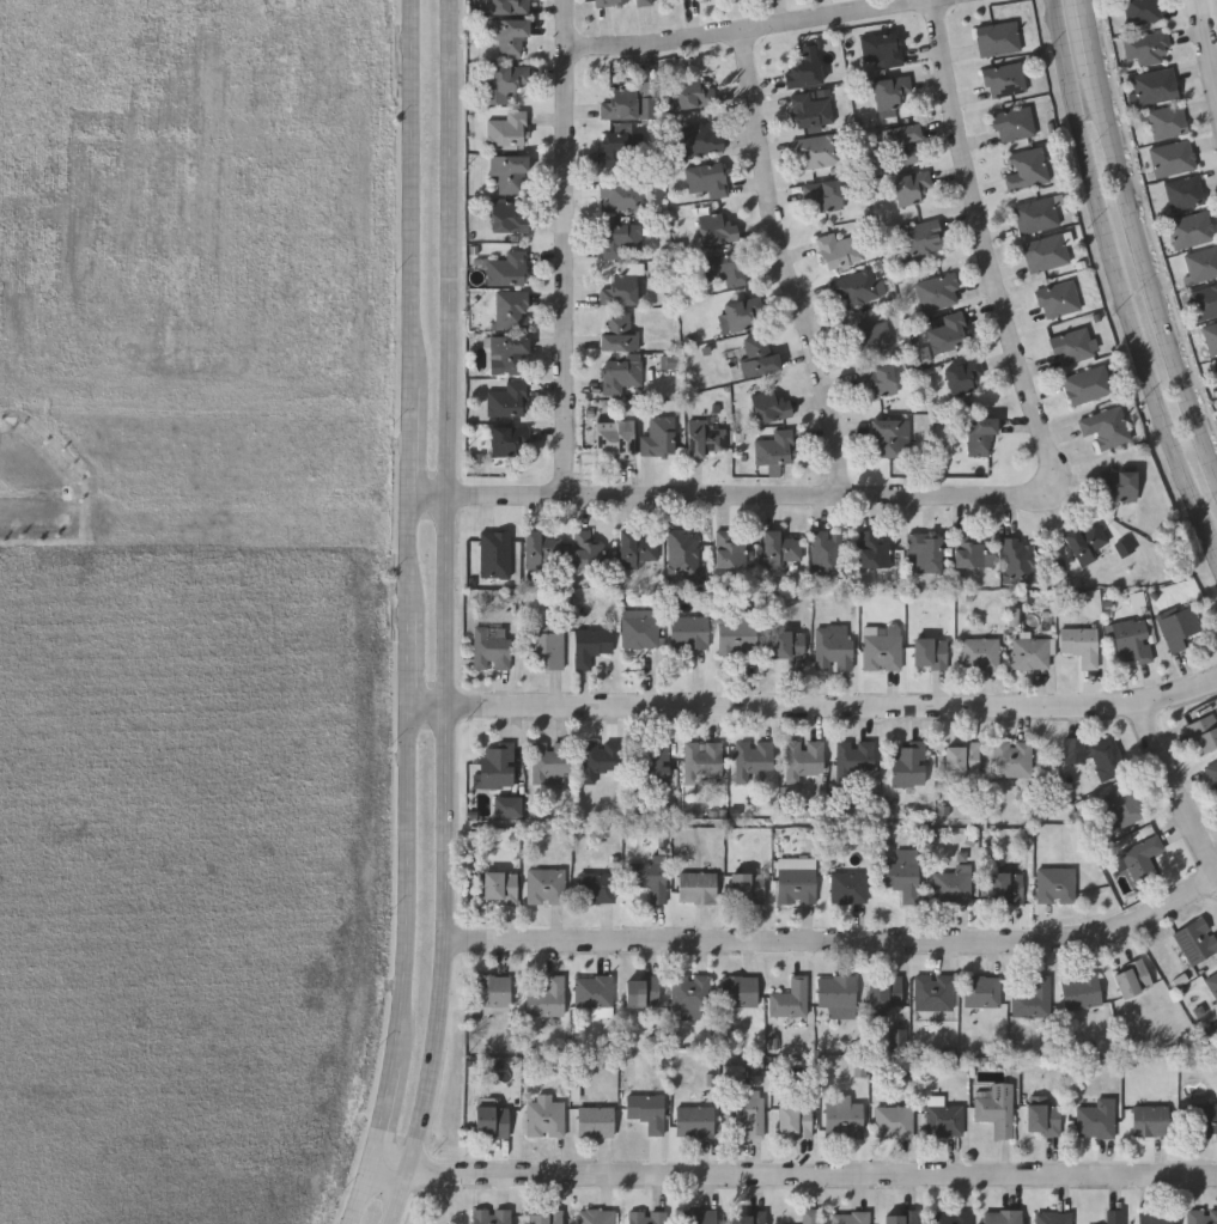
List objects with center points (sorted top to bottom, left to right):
building: (606, 1)
building: (644, 1)
building: (510, 6)
building: (1142, 11)
road: (753, 29)
building: (510, 37)
building: (998, 37)
road: (1209, 39)
road: (1094, 43)
building: (883, 47)
building: (1145, 50)
building: (804, 69)
building: (1003, 79)
building: (507, 83)
building: (1152, 87)
building: (890, 91)
building: (693, 92)
building: (620, 102)
building: (646, 106)
building: (811, 108)
building: (1012, 122)
building: (1166, 122)
building: (507, 128)
building: (698, 138)
building: (906, 144)
building: (620, 145)
building: (816, 150)
building: (1170, 159)
building: (1027, 168)
building: (509, 171)
building: (706, 178)
building: (911, 185)
building: (623, 194)
building: (823, 194)
building: (1182, 194)
building: (1038, 213)
building: (509, 215)
building: (717, 227)
building: (1189, 230)
building: (920, 236)
road: (984, 236)
building: (622, 239)
road: (568, 249)
building: (838, 249)
building: (1046, 250)
road: (785, 264)
building: (1200, 264)
building: (725, 266)
building: (507, 268)
road: (1119, 281)
road: (1149, 285)
building: (857, 287)
building: (620, 288)
building: (937, 290)
building: (1058, 297)
building: (1203, 303)
building: (511, 309)
building: (742, 312)
building: (619, 330)
building: (949, 331)
building: (870, 334)
building: (1210, 339)
building: (1072, 343)
building: (509, 353)
building: (757, 355)
building: (925, 355)
building: (669, 363)
building: (1215, 369)
building: (621, 373)
building: (962, 374)
building: (877, 378)
building: (1088, 383)
building: (509, 398)
building: (771, 406)
building: (1106, 426)
building: (975, 432)
building: (615, 434)
building: (659, 434)
building: (705, 437)
building: (890, 437)
building: (506, 442)
building: (775, 446)
building: (1119, 485)
road: (742, 495)
building: (1085, 541)
building: (638, 547)
building: (780, 547)
building: (541, 548)
building: (588, 548)
building: (872, 548)
building: (926, 549)
building: (970, 549)
building: (732, 550)
building: (495, 552)
building: (682, 552)
building: (826, 552)
building: (1017, 559)
road: (416, 615)
road: (454, 615)
building: (640, 626)
building: (1181, 626)
building: (689, 629)
building: (737, 635)
building: (1132, 640)
building: (547, 643)
building: (787, 643)
building: (1081, 643)
building: (591, 644)
building: (834, 645)
building: (491, 646)
building: (882, 648)
building: (930, 651)
building: (979, 652)
building: (1030, 652)
road: (817, 705)
building: (1205, 731)
building: (1073, 748)
building: (704, 756)
building: (752, 756)
building: (856, 756)
building: (962, 756)
building: (803, 757)
building: (1012, 757)
building: (1107, 757)
building: (600, 759)
building: (552, 761)
building: (652, 761)
building: (908, 763)
building: (494, 766)
building: (1212, 772)
road: (1176, 785)
building: (1125, 804)
building: (510, 806)
building: (1142, 858)
building: (901, 876)
building: (650, 877)
building: (1055, 883)
building: (546, 884)
building: (797, 884)
building: (953, 884)
building: (500, 885)
building: (696, 885)
building: (747, 885)
building: (848, 885)
building: (1005, 885)
building: (596, 887)
building: (1195, 938)
road: (840, 942)
building: (1132, 976)
building: (1212, 980)
building: (492, 989)
building: (594, 989)
building: (641, 989)
building: (740, 989)
building: (984, 989)
building: (1082, 989)
building: (692, 991)
building: (933, 991)
building: (836, 993)
building: (884, 993)
building: (547, 997)
building: (790, 998)
building: (1033, 999)
building: (897, 1037)
building: (858, 1070)
building: (997, 1107)
building: (747, 1109)
building: (646, 1110)
building: (544, 1115)
building: (844, 1118)
building: (1043, 1118)
building: (1096, 1118)
building: (492, 1119)
building: (694, 1119)
building: (795, 1119)
building: (944, 1119)
building: (1150, 1119)
building: (1206, 1119)
building: (595, 1120)
building: (894, 1120)
road: (798, 1176)
building: (494, 1214)
building: (936, 1214)
building: (1201, 1214)
building: (544, 1216)
building: (596, 1216)
building: (698, 1216)
building: (809, 1216)
building: (1002, 1216)
building: (1115, 1216)
building: (647, 1217)
building: (748, 1217)
building: (851, 1217)
building: (901, 1217)
building: (1053, 1217)
building: (1155, 1217)

